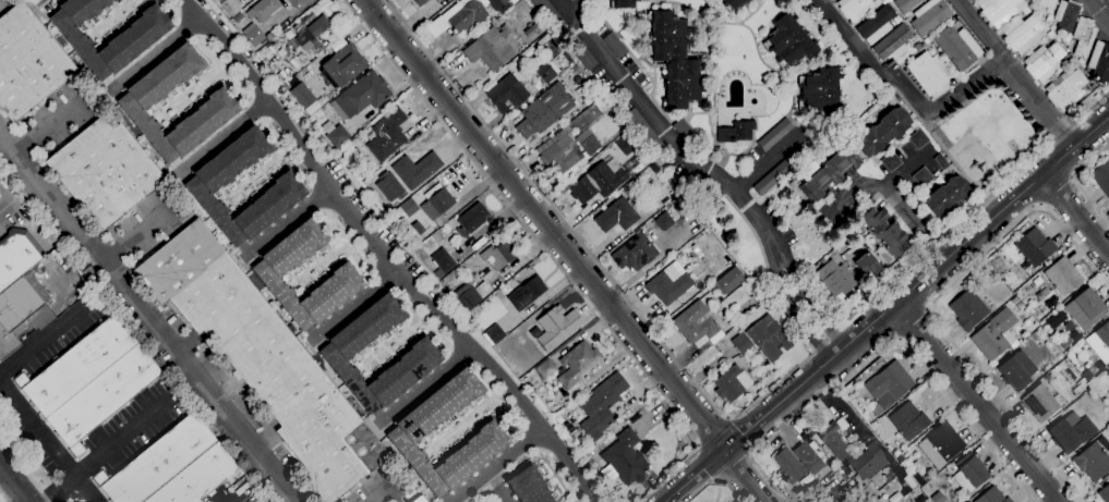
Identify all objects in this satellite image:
building: (890, 0)
building: (975, 0)
building: (297, 2)
building: (420, 2)
building: (494, 3)
building: (623, 3)
building: (734, 3)
building: (1047, 3)
building: (905, 4)
building: (230, 7)
building: (855, 8)
building: (263, 9)
building: (1000, 10)
road: (1100, 10)
road: (568, 11)
building: (549, 12)
building: (1066, 14)
building: (458, 16)
building: (929, 16)
building: (238, 17)
building: (309, 17)
building: (1049, 17)
building: (897, 20)
building: (907, 20)
building: (953, 20)
building: (876, 24)
building: (532, 29)
road: (980, 29)
building: (312, 32)
building: (1022, 34)
building: (1050, 34)
building: (255, 36)
building: (1084, 36)
building: (133, 37)
building: (1066, 38)
building: (791, 40)
building: (927, 40)
building: (893, 42)
building: (316, 44)
building: (615, 45)
building: (918, 46)
building: (957, 47)
building: (490, 49)
road: (158, 53)
building: (300, 57)
building: (584, 57)
building: (675, 60)
building: (294, 61)
building: (1044, 61)
building: (1100, 61)
building: (27, 62)
building: (343, 65)
building: (547, 72)
building: (930, 73)
building: (281, 75)
road: (903, 85)
building: (1066, 88)
building: (821, 91)
building: (507, 93)
building: (363, 94)
building: (589, 97)
building: (304, 98)
building: (135, 102)
road: (1039, 102)
building: (544, 110)
road: (48, 125)
building: (683, 128)
building: (644, 131)
building: (736, 131)
building: (882, 131)
building: (387, 134)
building: (774, 134)
building: (338, 135)
road: (227, 137)
building: (917, 138)
building: (588, 142)
building: (627, 144)
building: (560, 155)
road: (766, 159)
building: (941, 160)
building: (891, 161)
building: (654, 168)
building: (417, 169)
building: (105, 170)
building: (781, 170)
road: (712, 171)
building: (828, 172)
building: (921, 176)
building: (1102, 176)
building: (596, 182)
road: (1076, 182)
building: (203, 186)
road: (1058, 191)
building: (947, 196)
road: (903, 203)
building: (437, 204)
road: (4, 205)
building: (389, 206)
building: (405, 209)
building: (618, 213)
road: (1076, 213)
building: (471, 219)
road: (286, 220)
road: (544, 223)
building: (856, 230)
building: (884, 231)
road: (135, 233)
building: (412, 233)
building: (641, 245)
building: (1035, 246)
road: (547, 252)
building: (17, 255)
road: (382, 255)
building: (498, 255)
building: (50, 260)
building: (443, 260)
building: (823, 260)
building: (868, 265)
building: (270, 269)
building: (485, 274)
building: (1063, 276)
building: (836, 279)
building: (730, 281)
building: (668, 284)
building: (36, 285)
building: (527, 293)
building: (471, 294)
building: (755, 294)
road: (355, 302)
road: (932, 305)
building: (967, 309)
building: (1084, 310)
building: (15, 311)
road: (888, 313)
road: (149, 314)
building: (1054, 318)
building: (697, 325)
building: (557, 326)
road: (913, 326)
building: (493, 333)
building: (996, 334)
building: (770, 339)
road: (44, 340)
building: (742, 342)
building: (1100, 342)
building: (1066, 343)
building: (419, 354)
building: (264, 359)
building: (577, 363)
building: (546, 368)
building: (1016, 370)
building: (89, 381)
building: (732, 382)
road: (426, 383)
building: (888, 387)
building: (1078, 388)
road: (945, 394)
building: (1040, 402)
road: (977, 403)
building: (602, 405)
road: (712, 405)
building: (558, 419)
building: (908, 420)
building: (570, 428)
building: (1071, 431)
building: (487, 437)
road: (123, 438)
building: (941, 444)
road: (47, 445)
building: (872, 452)
building: (626, 457)
building: (1094, 458)
building: (157, 462)
building: (798, 462)
building: (592, 463)
road: (496, 464)
road: (24, 472)
building: (969, 473)
road: (745, 475)
building: (198, 477)
building: (918, 478)
road: (15, 481)
road: (766, 483)
building: (528, 486)
road: (58, 489)
road: (492, 489)
building: (865, 491)
road: (735, 492)
building: (1105, 493)
road: (375, 494)
road: (4, 495)
building: (992, 495)
building: (938, 497)
building: (419, 499)
building: (872, 499)
road: (244, 501)

